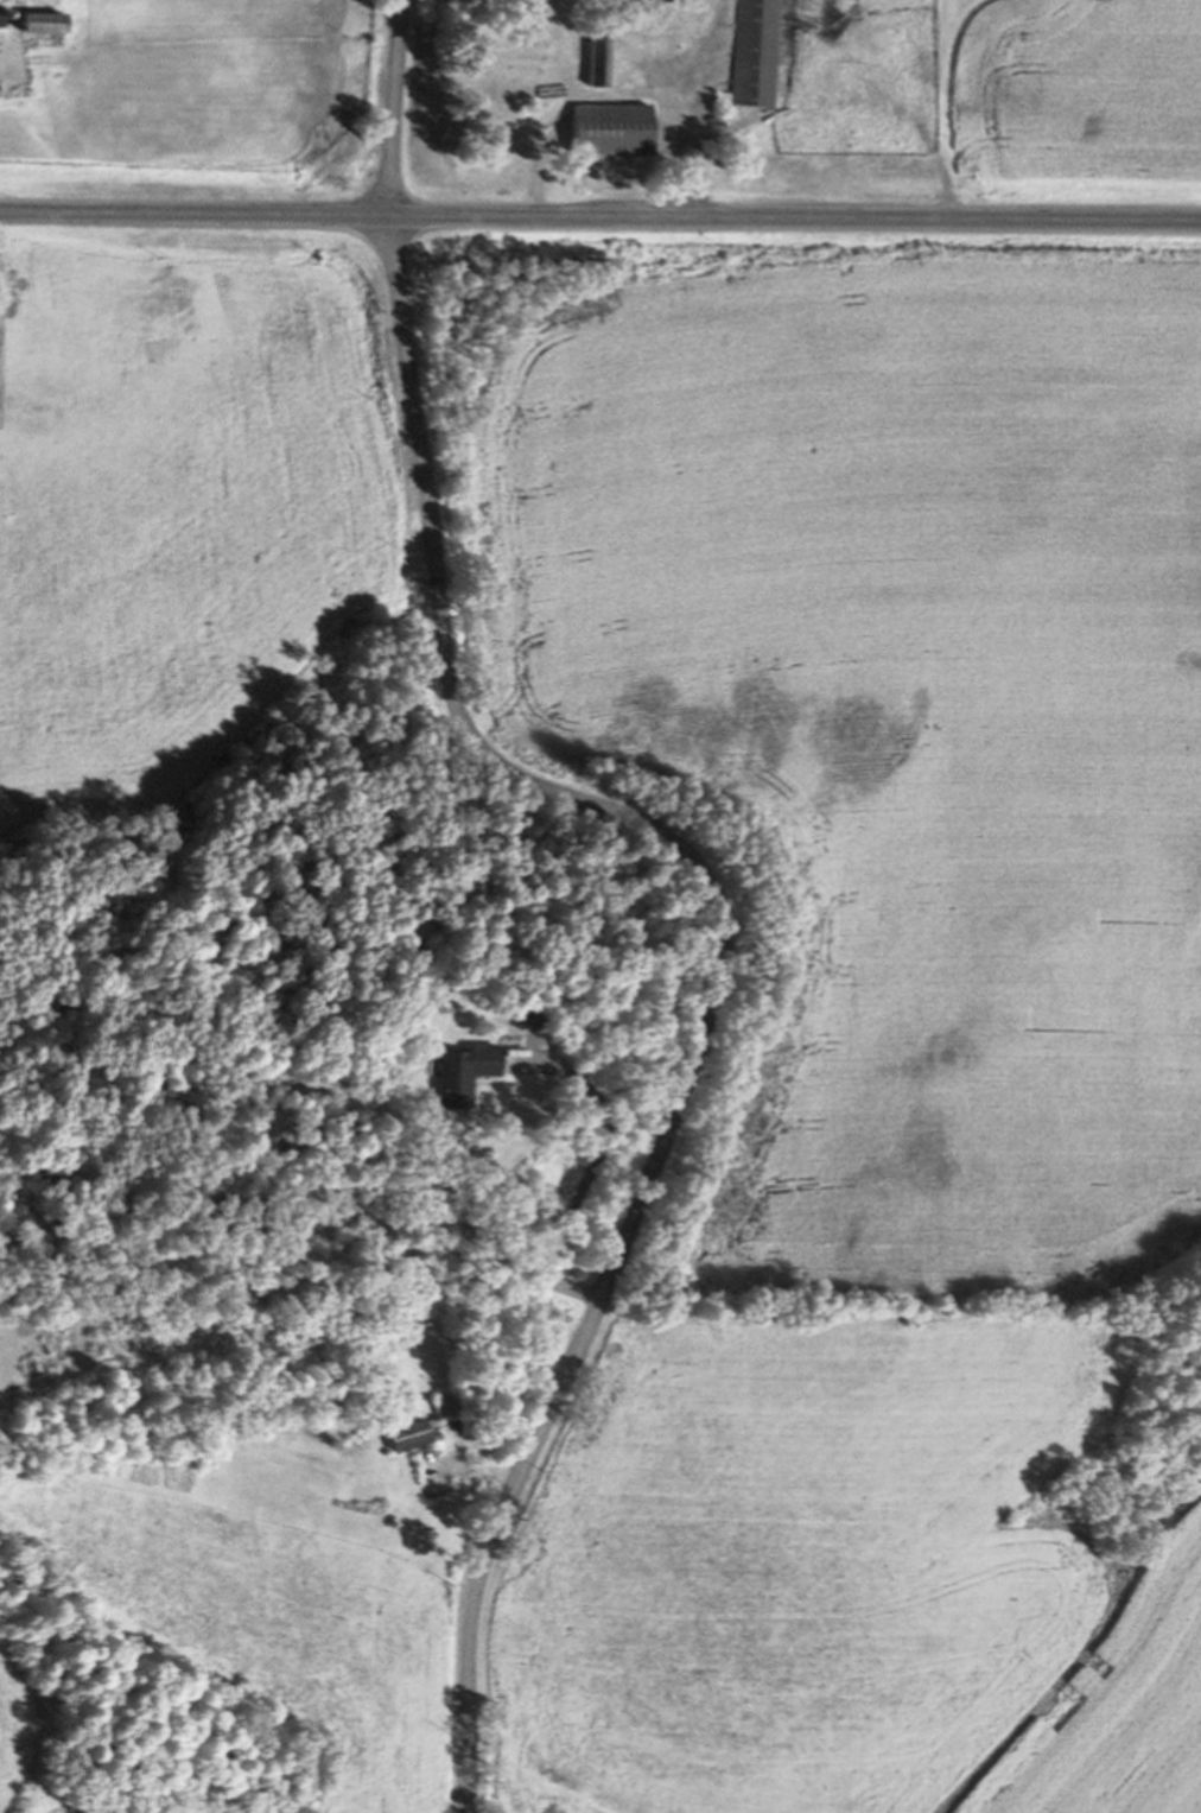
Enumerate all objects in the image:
building: (641, 0)
building: (2, 12)
building: (40, 20)
building: (0, 45)
building: (749, 52)
building: (595, 56)
building: (513, 90)
building: (803, 100)
building: (609, 127)
road: (599, 216)
road: (692, 863)
building: (525, 1016)
building: (463, 1071)
road: (579, 1175)
building: (446, 1402)
building: (253, 1424)
building: (408, 1433)

